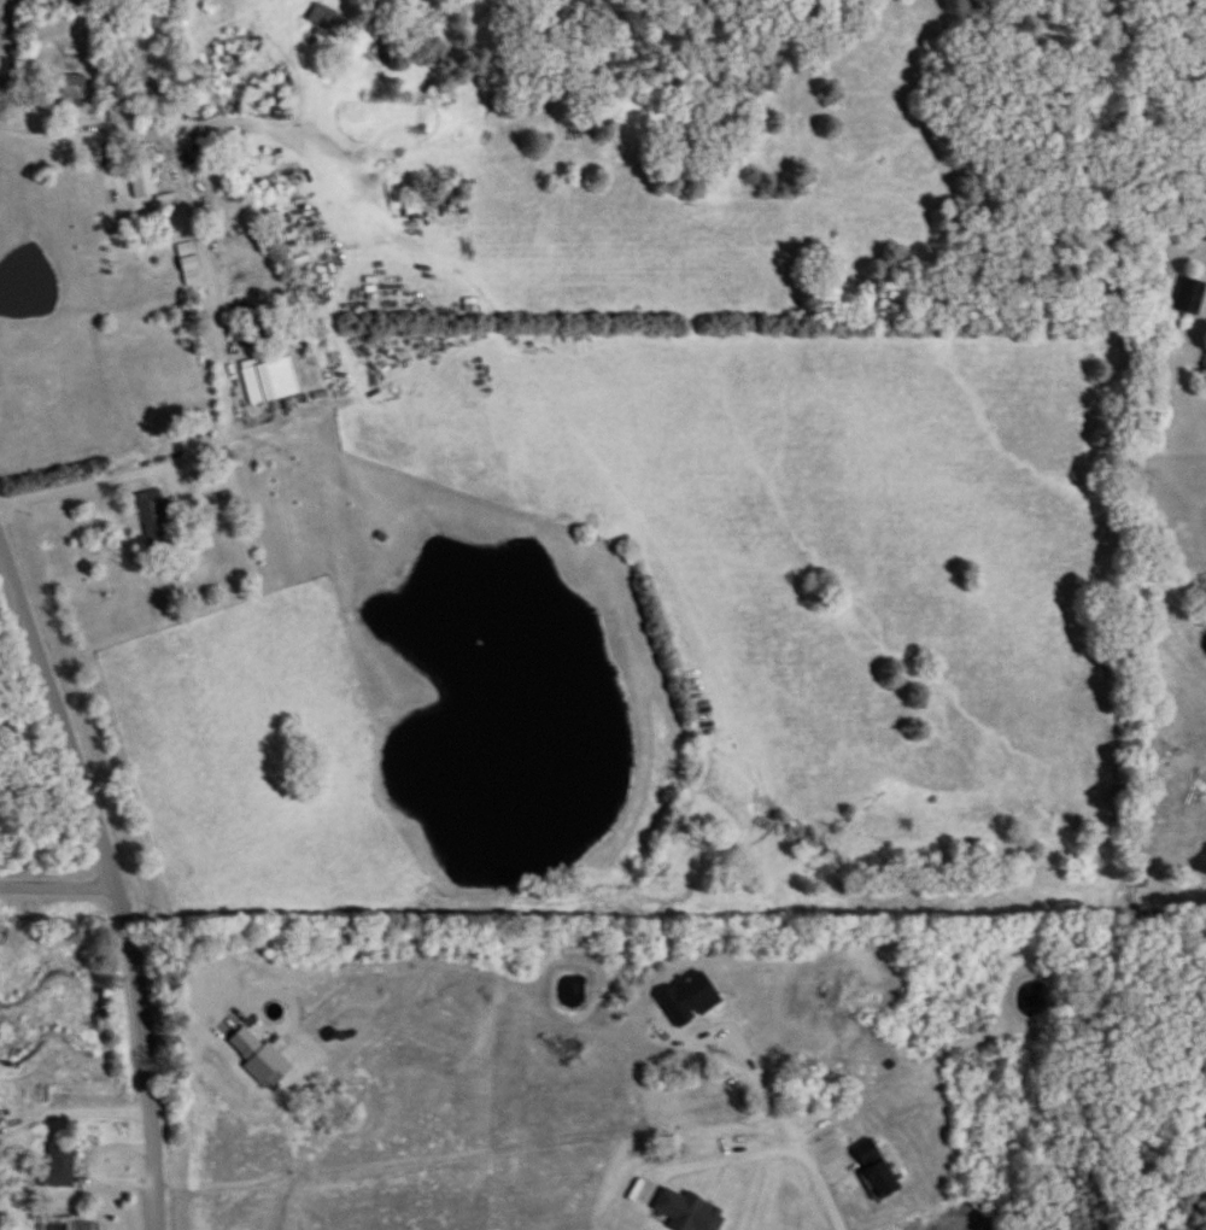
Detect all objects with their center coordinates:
building: (144, 70)
building: (72, 90)
building: (141, 177)
building: (189, 265)
building: (1190, 298)
road: (222, 314)
building: (270, 381)
building: (154, 519)
road: (113, 872)
road: (57, 873)
road: (75, 1114)
road: (52, 1159)
building: (58, 1166)
road: (820, 1184)

